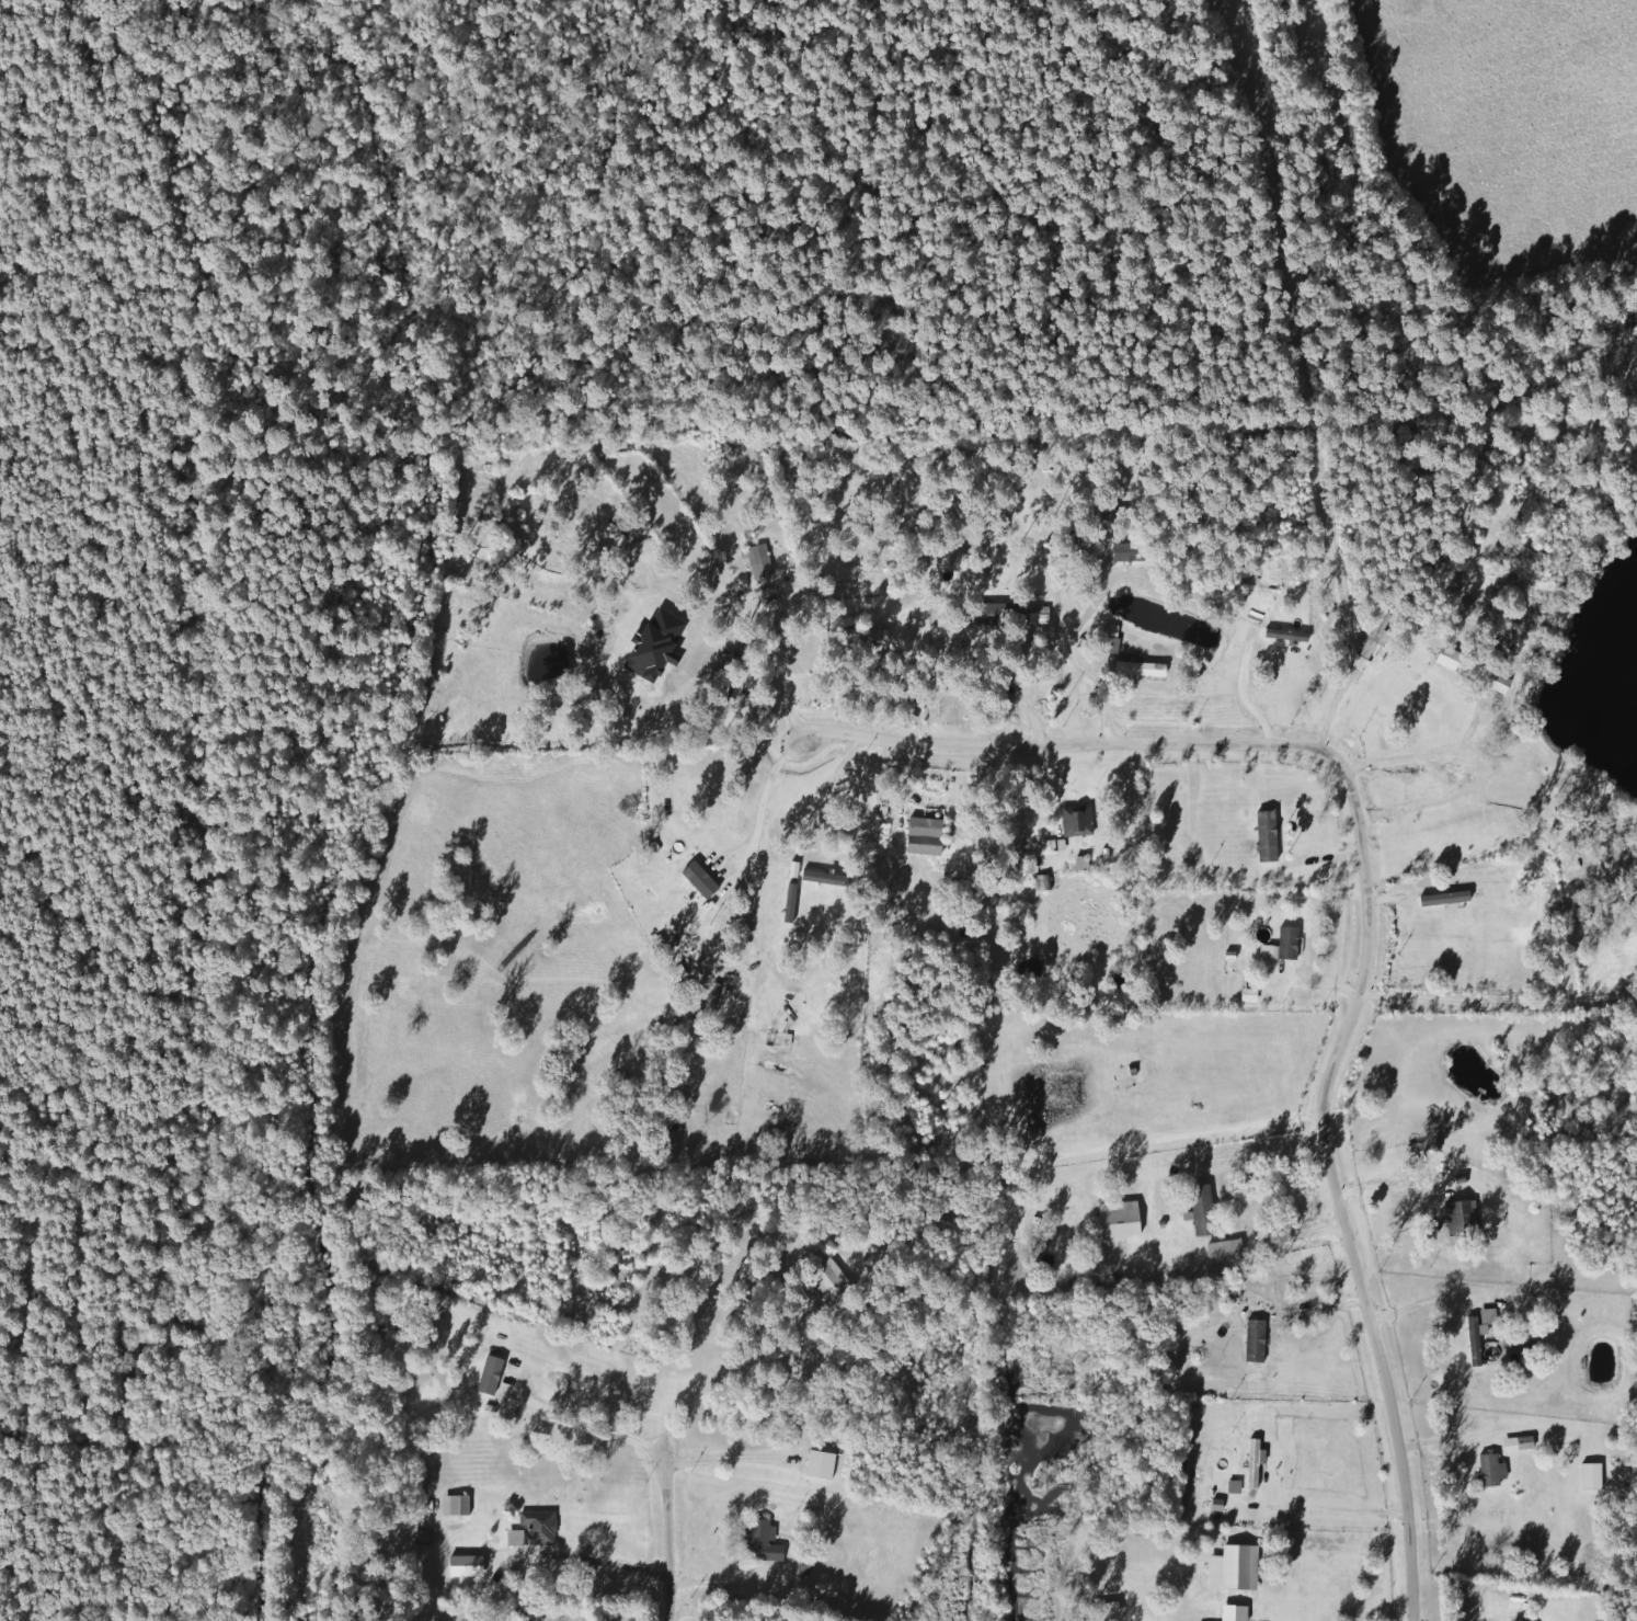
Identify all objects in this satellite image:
building: (756, 561)
building: (997, 614)
building: (1037, 615)
building: (861, 635)
building: (1374, 637)
building: (1108, 640)
building: (1464, 666)
building: (1130, 669)
building: (719, 688)
road: (917, 694)
road: (924, 741)
road: (1306, 742)
road: (1426, 756)
road: (772, 787)
road: (838, 787)
building: (1074, 821)
building: (924, 829)
building: (1263, 836)
building: (1078, 861)
building: (683, 881)
building: (1285, 944)
road: (1501, 1003)
building: (1200, 1211)
building: (1458, 1219)
road: (1300, 1236)
building: (1222, 1249)
building: (828, 1286)
road: (1374, 1295)
road: (1423, 1304)
building: (1486, 1317)
building: (1252, 1342)
building: (1473, 1342)
building: (1515, 1343)
road: (720, 1371)
building: (485, 1373)
road: (584, 1420)
building: (1509, 1446)
road: (730, 1459)
building: (1252, 1462)
building: (1488, 1471)
building: (1589, 1477)
building: (454, 1506)
road: (1339, 1508)
building: (531, 1530)
road: (667, 1534)
building: (759, 1541)
road: (617, 1564)
road: (722, 1580)
building: (1261, 1597)
building: (1195, 1619)

